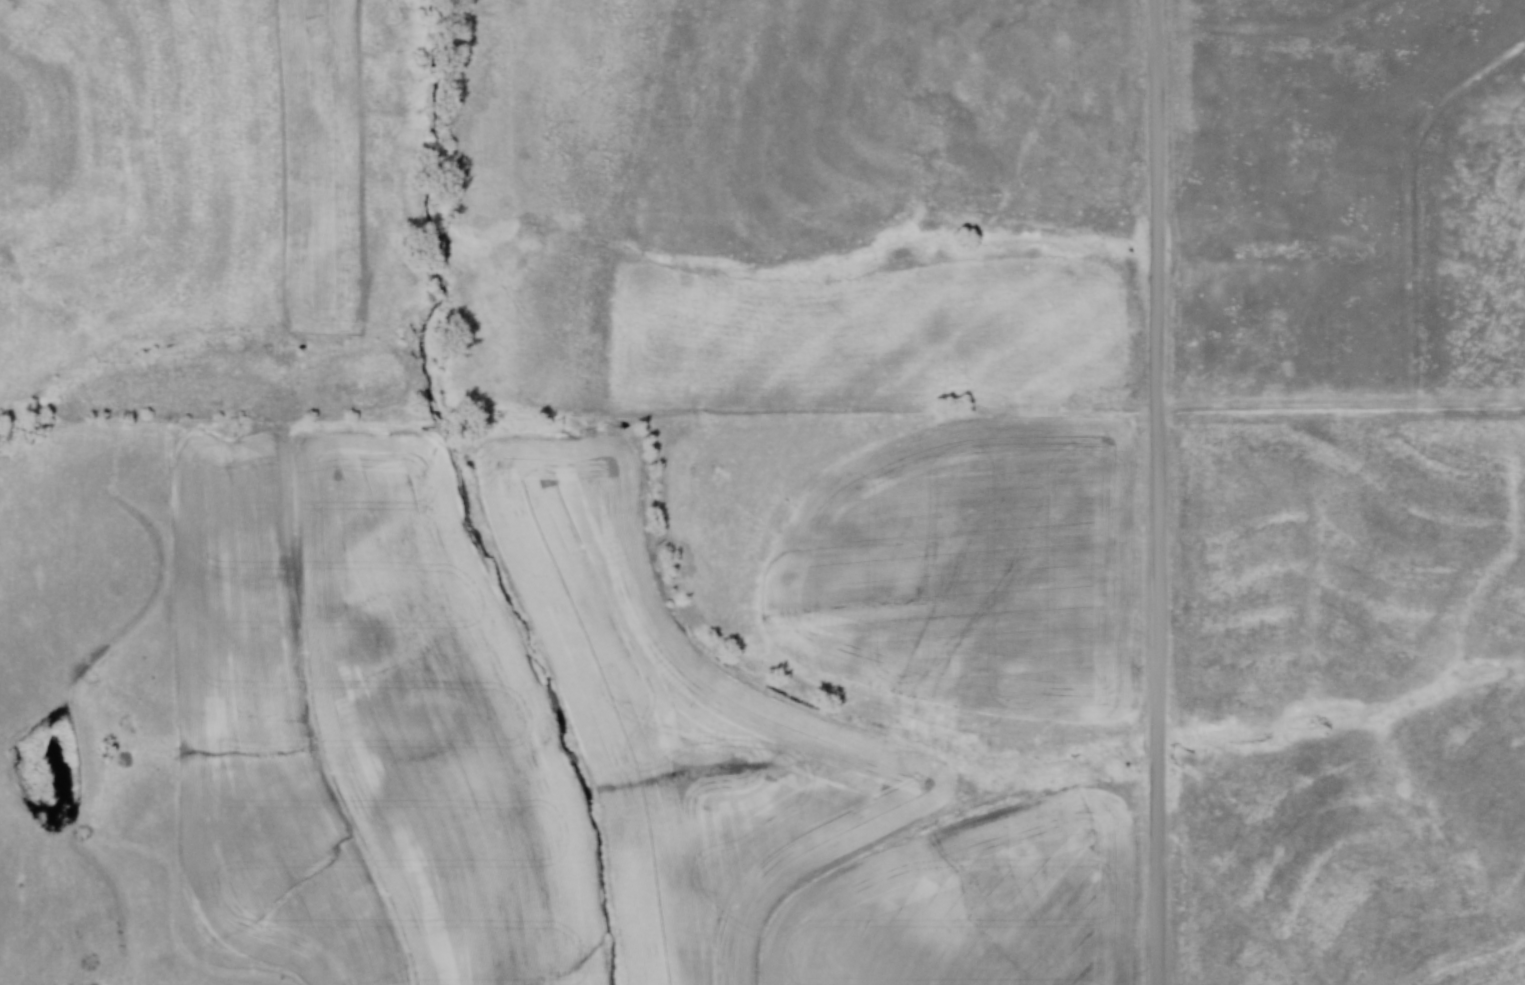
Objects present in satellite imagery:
road: (1159, 492)

